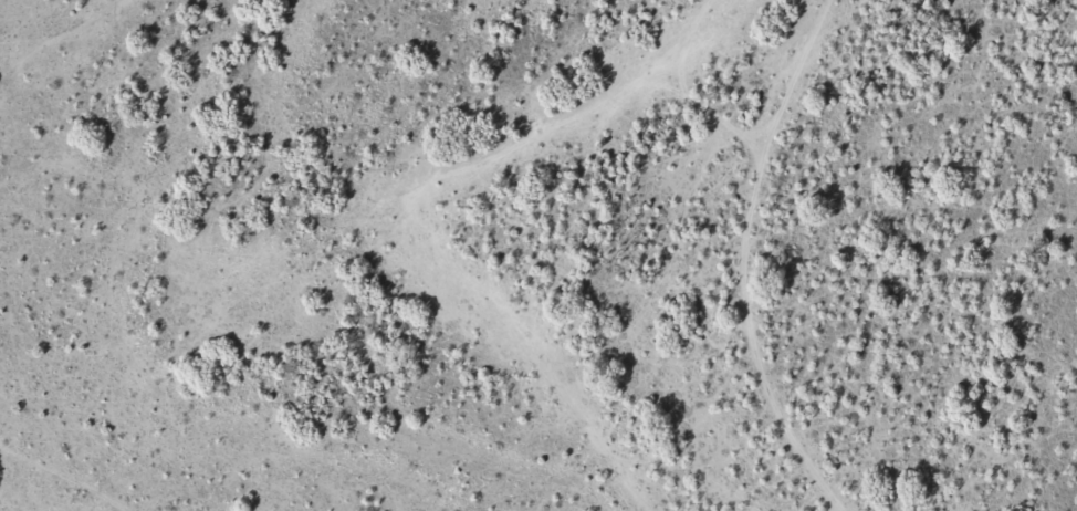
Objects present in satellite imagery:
road: (751, 260)

